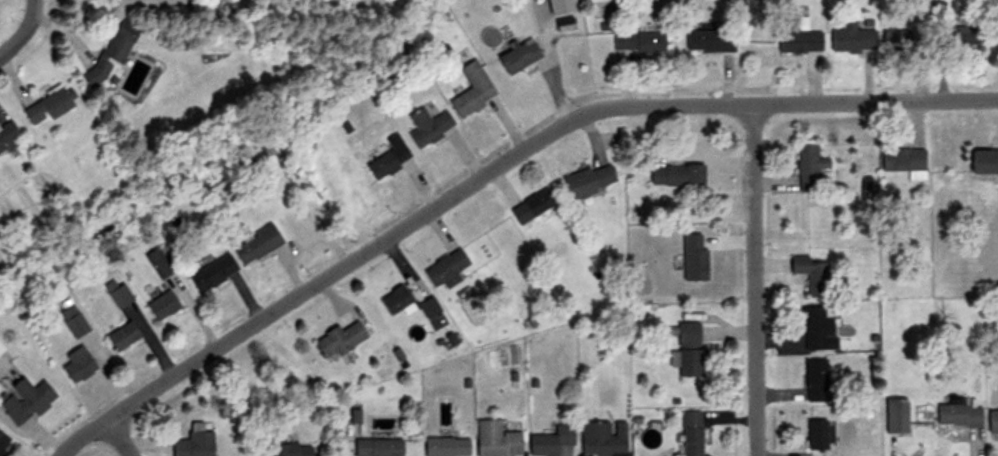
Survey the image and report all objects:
building: (558, 6)
building: (564, 24)
road: (25, 33)
building: (798, 35)
building: (961, 37)
building: (852, 39)
building: (709, 41)
building: (896, 41)
building: (638, 43)
building: (111, 51)
building: (518, 57)
building: (471, 89)
building: (46, 107)
building: (427, 126)
building: (8, 136)
building: (387, 157)
building: (904, 162)
building: (984, 162)
road: (494, 169)
building: (804, 170)
building: (677, 176)
building: (588, 181)
building: (531, 206)
building: (256, 244)
building: (158, 263)
building: (446, 269)
building: (212, 273)
building: (806, 275)
road: (755, 280)
building: (114, 296)
building: (396, 301)
building: (162, 305)
building: (429, 308)
building: (71, 325)
building: (813, 330)
building: (688, 335)
building: (120, 339)
building: (339, 340)
building: (1, 349)
building: (691, 363)
building: (75, 367)
building: (811, 382)
building: (22, 402)
building: (957, 416)
building: (893, 419)
building: (992, 425)
building: (691, 434)
building: (812, 435)
building: (495, 439)
building: (603, 439)
road: (121, 440)
building: (550, 441)
building: (2, 442)
building: (193, 444)
building: (446, 446)
building: (377, 447)
building: (290, 449)

